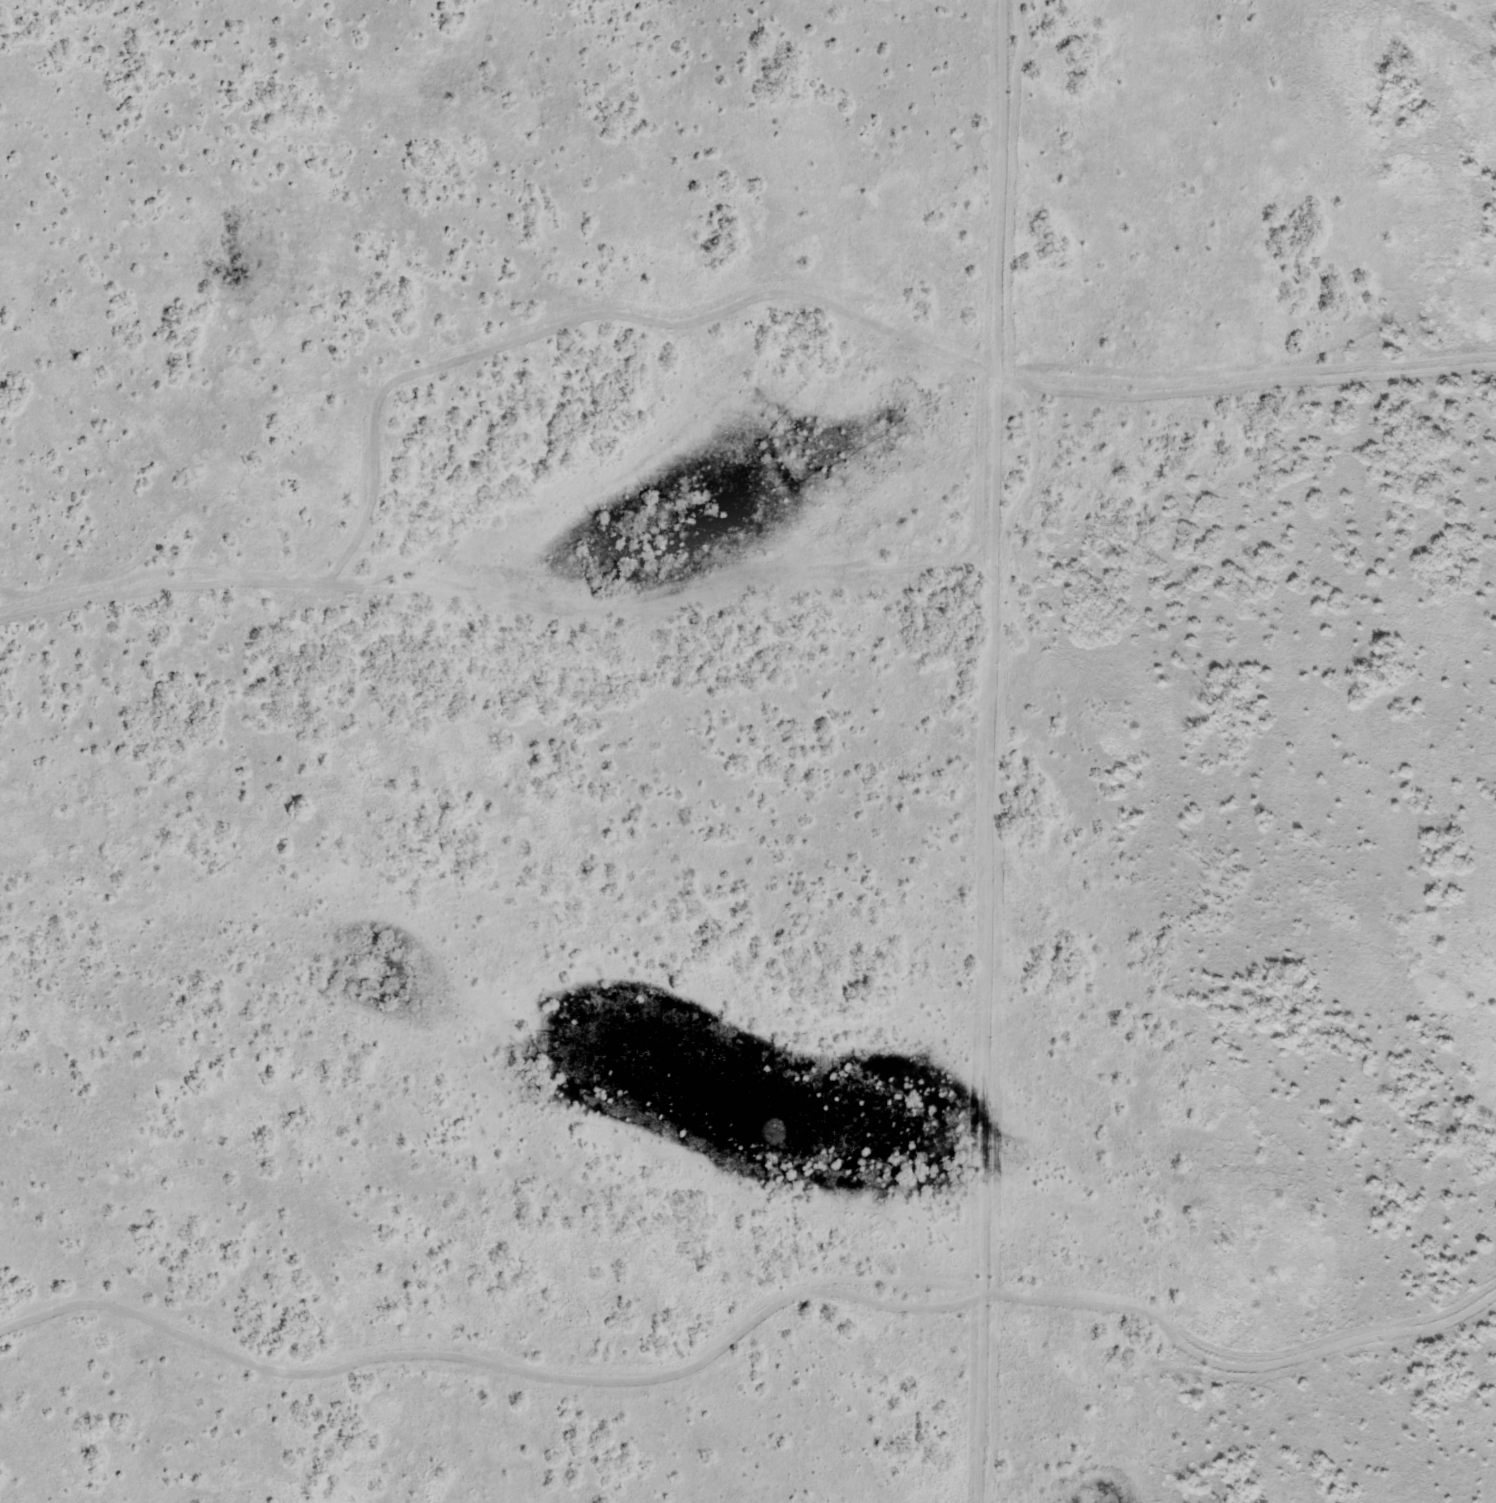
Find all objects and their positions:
road: (949, 751)

